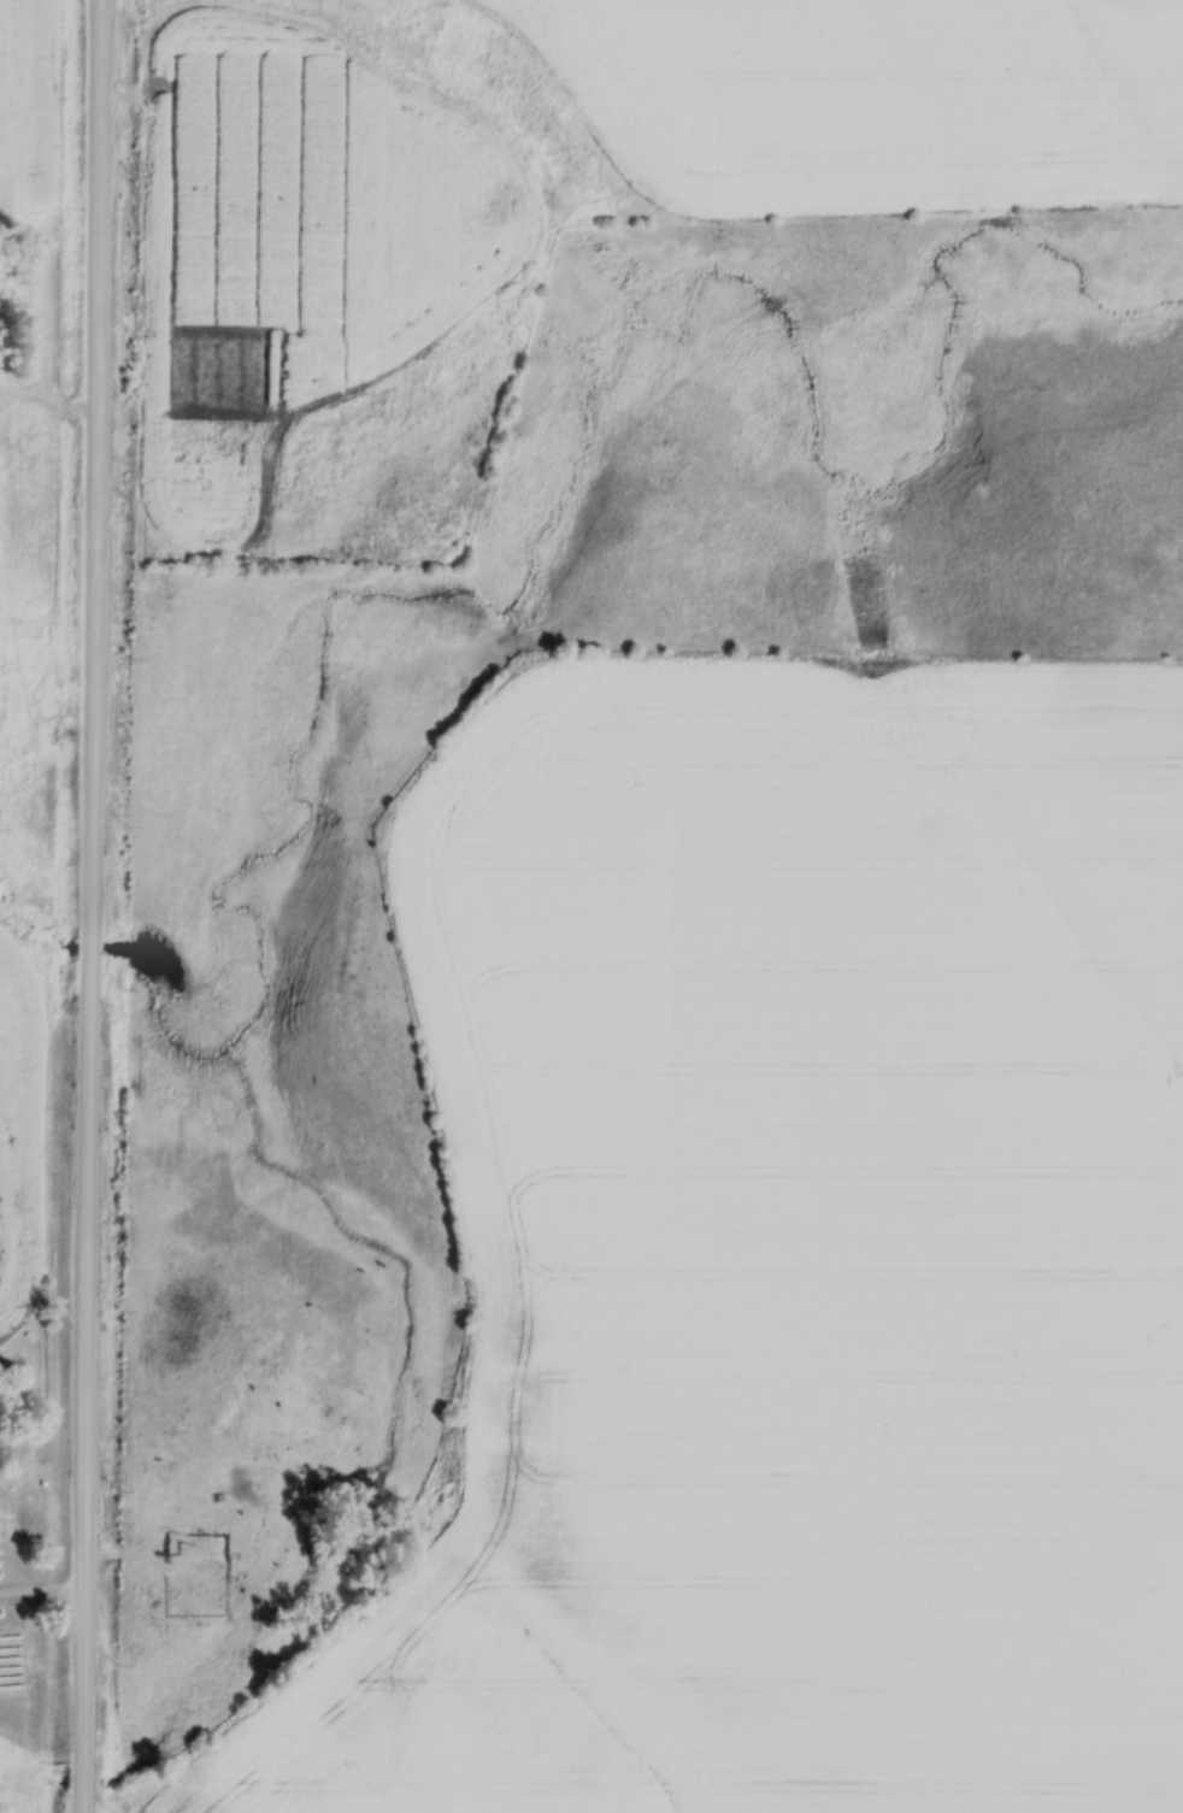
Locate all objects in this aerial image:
road: (94, 906)
road: (42, 1582)

